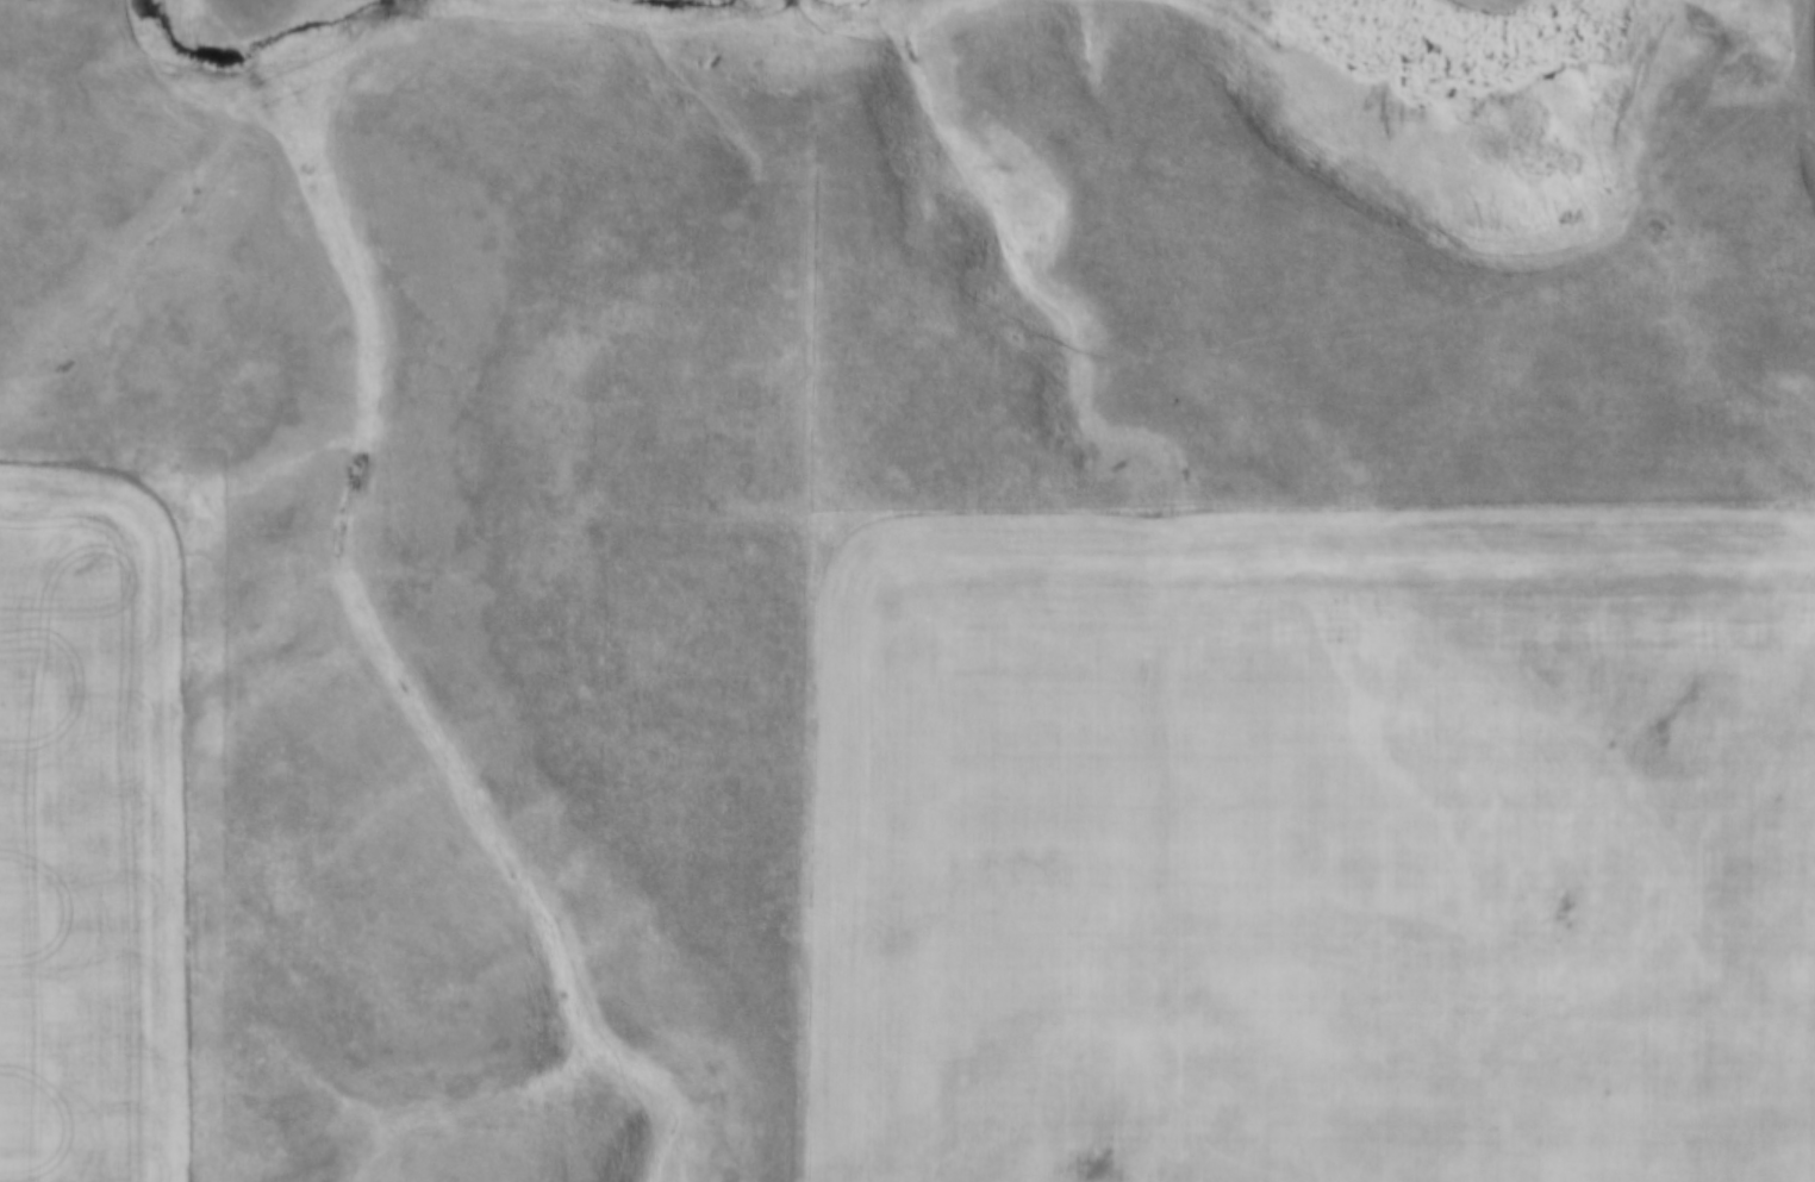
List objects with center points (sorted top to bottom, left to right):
dam: (1801, 44)

